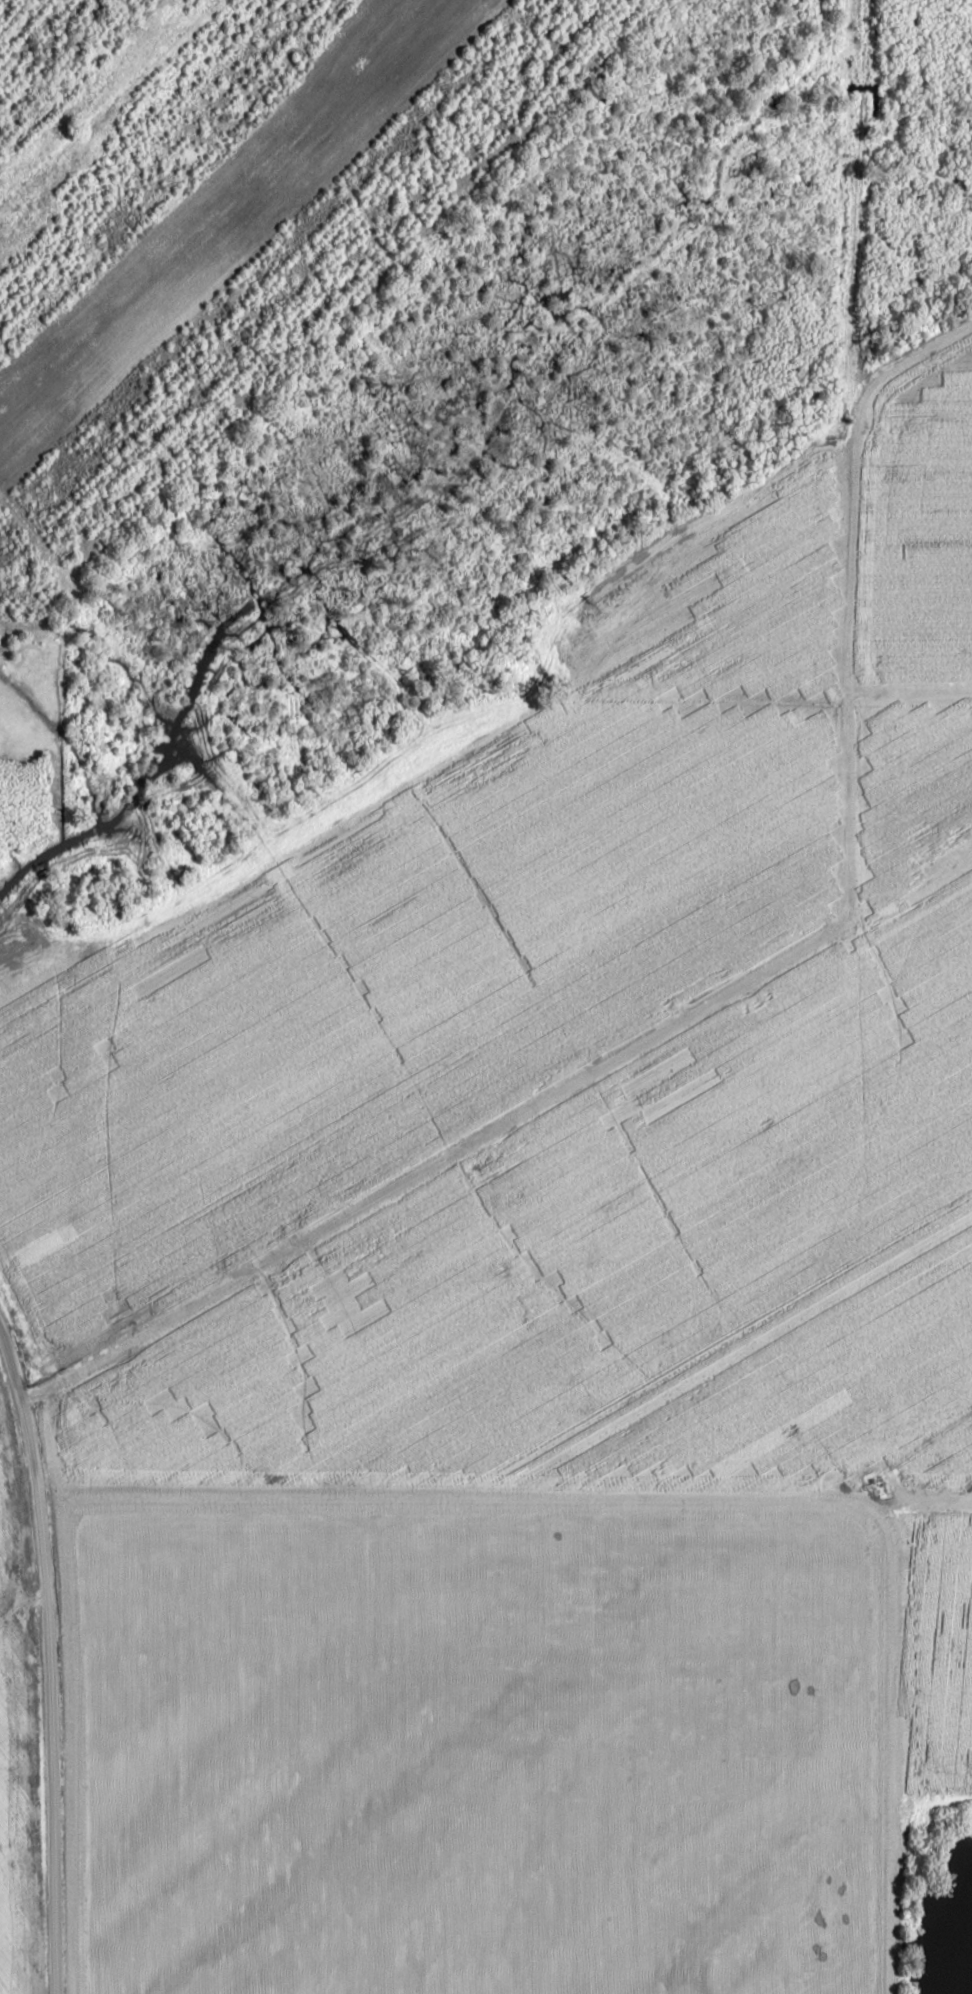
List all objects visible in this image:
road: (941, 683)
road: (874, 703)
road: (970, 1496)
road: (45, 1664)

